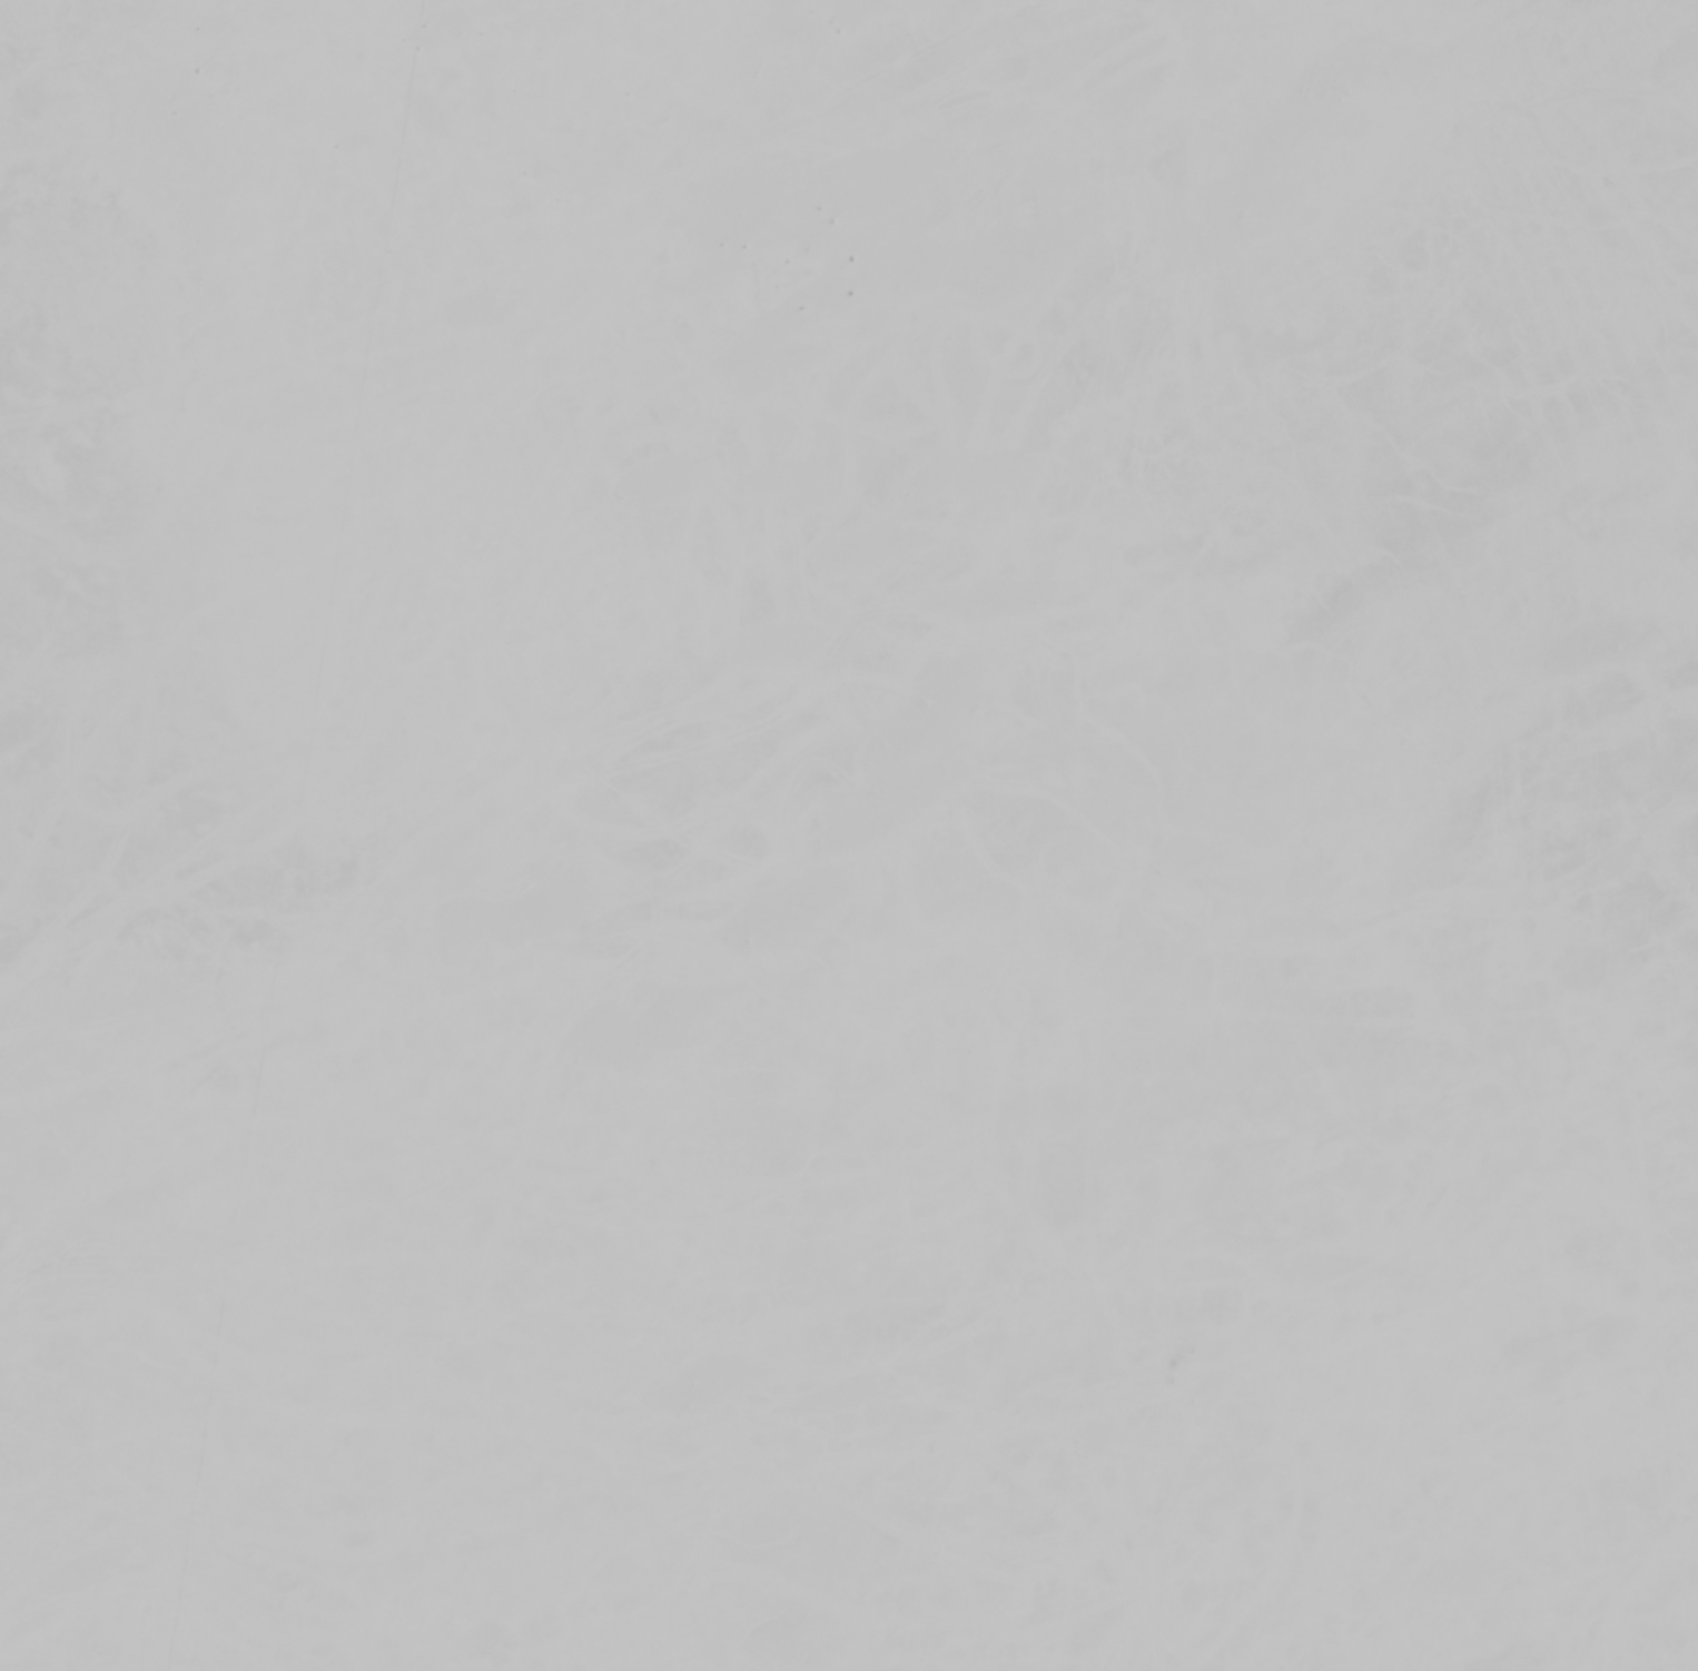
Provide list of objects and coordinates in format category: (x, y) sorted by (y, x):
road: (1323, 1268)

